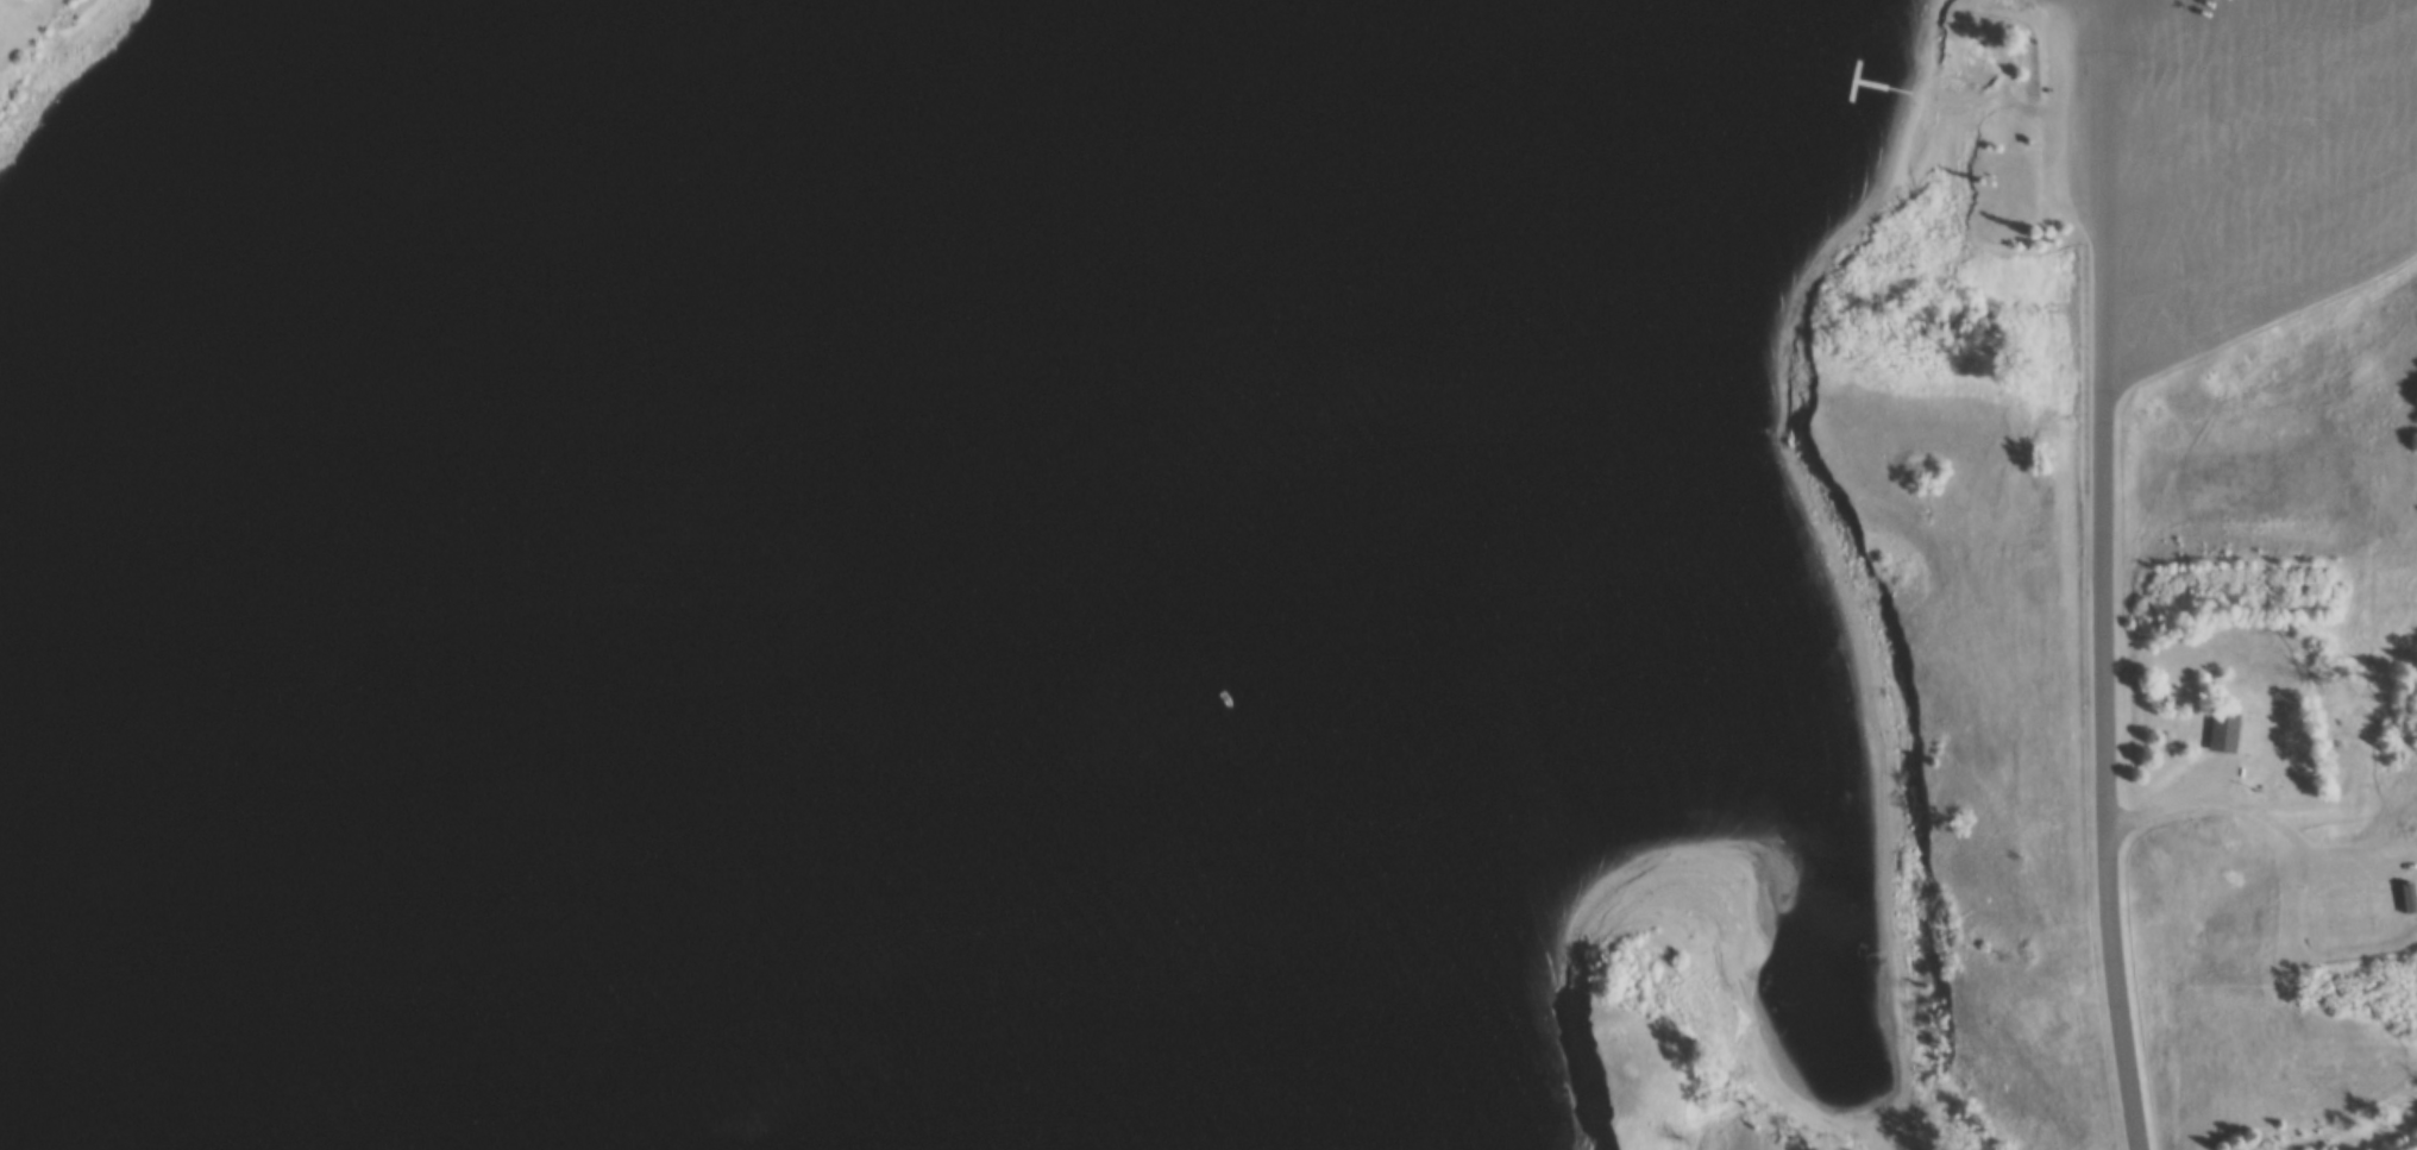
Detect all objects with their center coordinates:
road: (2177, 31)
road: (2260, 76)
pier: (1946, 89)
pier: (1969, 94)
road: (2260, 153)
parking lot: (2235, 164)
road: (2260, 235)
road: (2260, 312)
road: (2102, 576)
park: (2159, 577)
building: (2334, 708)
building: (2224, 733)
road: (2252, 799)
park: (1638, 1060)
pier: (1898, 1139)

